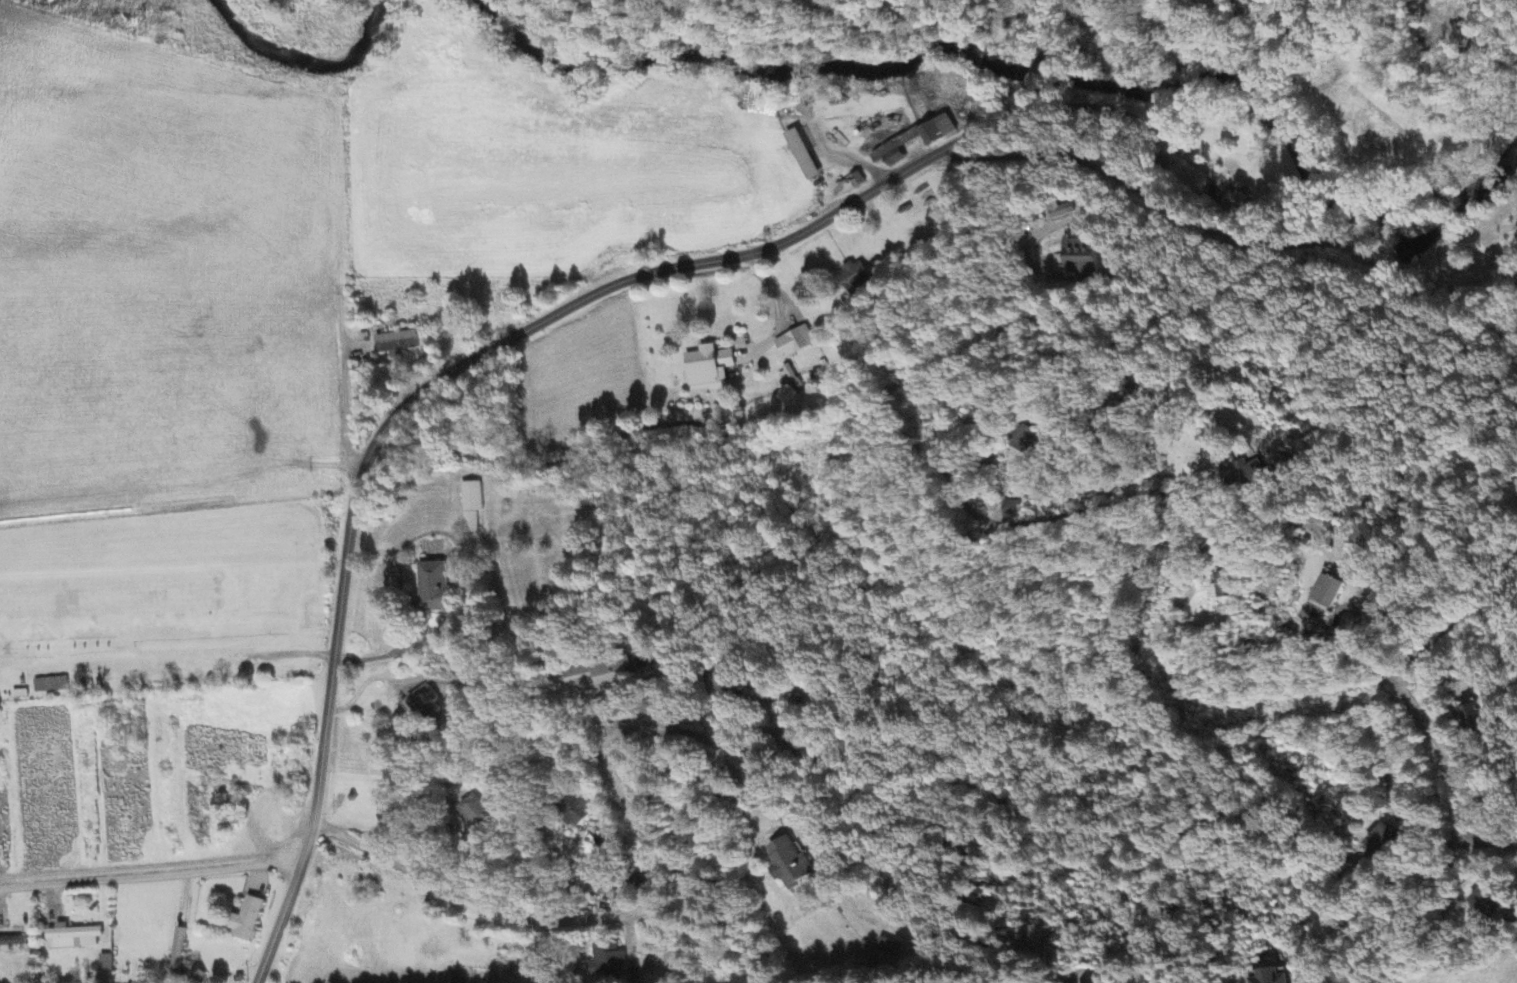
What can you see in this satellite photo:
road: (1061, 25)
building: (1088, 46)
road: (1034, 75)
building: (935, 131)
building: (801, 156)
building: (886, 156)
building: (1239, 203)
building: (1059, 210)
road: (1224, 233)
building: (1079, 258)
building: (852, 276)
building: (792, 342)
building: (395, 343)
building: (706, 366)
road: (439, 377)
building: (787, 379)
road: (828, 406)
building: (1023, 440)
building: (1249, 472)
building: (469, 506)
building: (1010, 509)
building: (433, 587)
building: (1219, 587)
building: (1325, 590)
building: (48, 685)
building: (724, 688)
road: (1403, 690)
building: (419, 702)
building: (1472, 715)
road: (850, 773)
building: (473, 811)
building: (572, 811)
building: (1379, 842)
building: (787, 863)
road: (150, 874)
building: (1484, 902)
building: (243, 919)
building: (64, 938)
building: (9, 942)
building: (175, 953)
building: (604, 962)
building: (103, 969)
building: (1268, 977)

